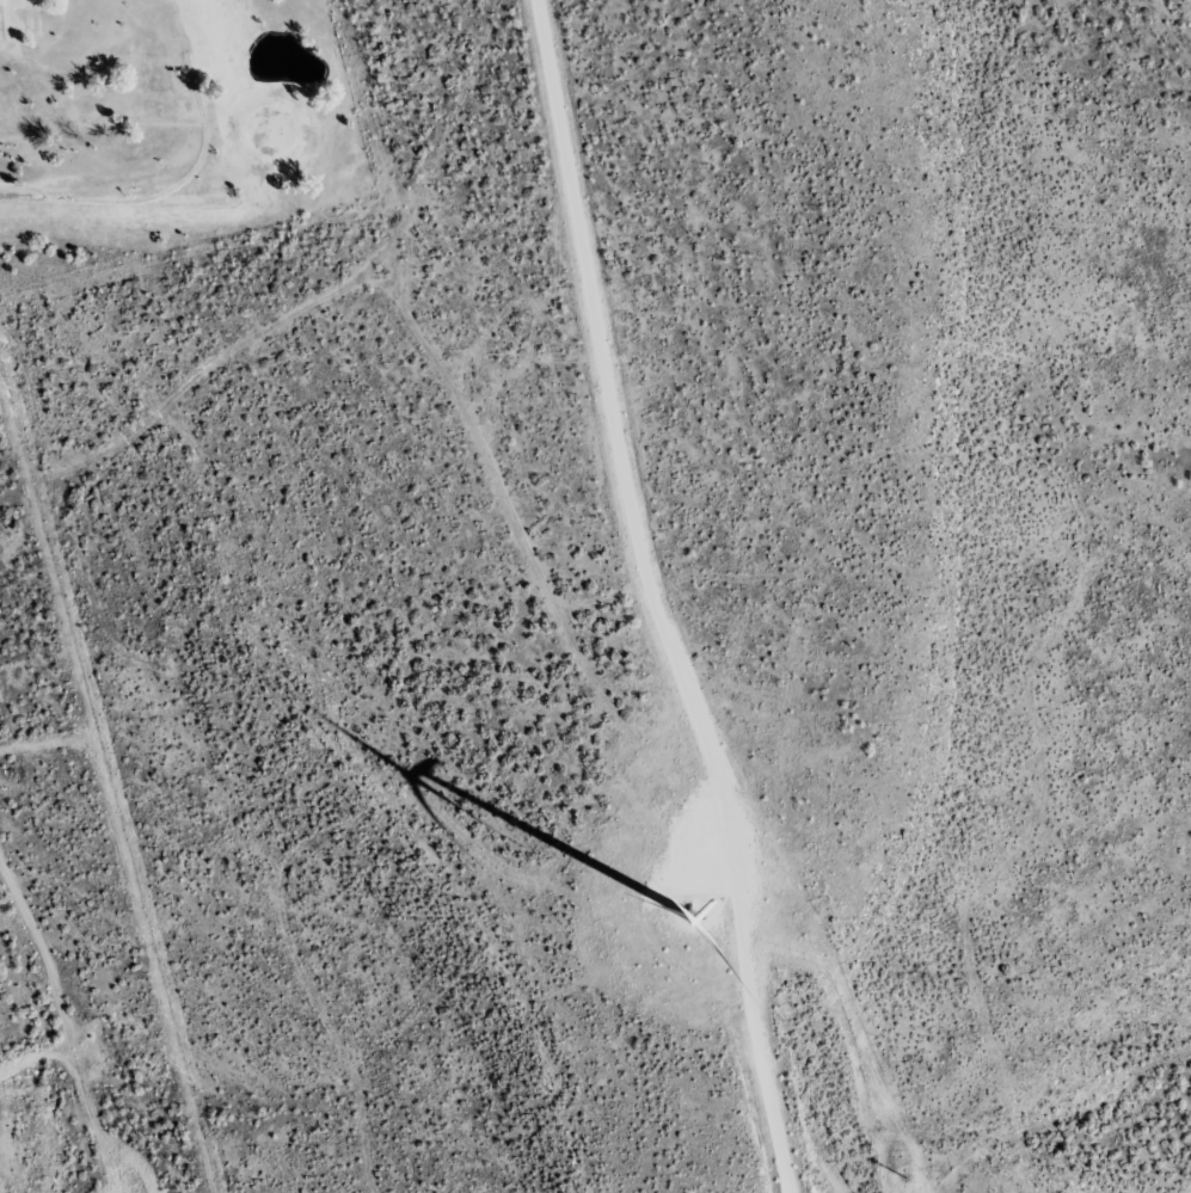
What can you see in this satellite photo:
wind turbine: (695, 909)

